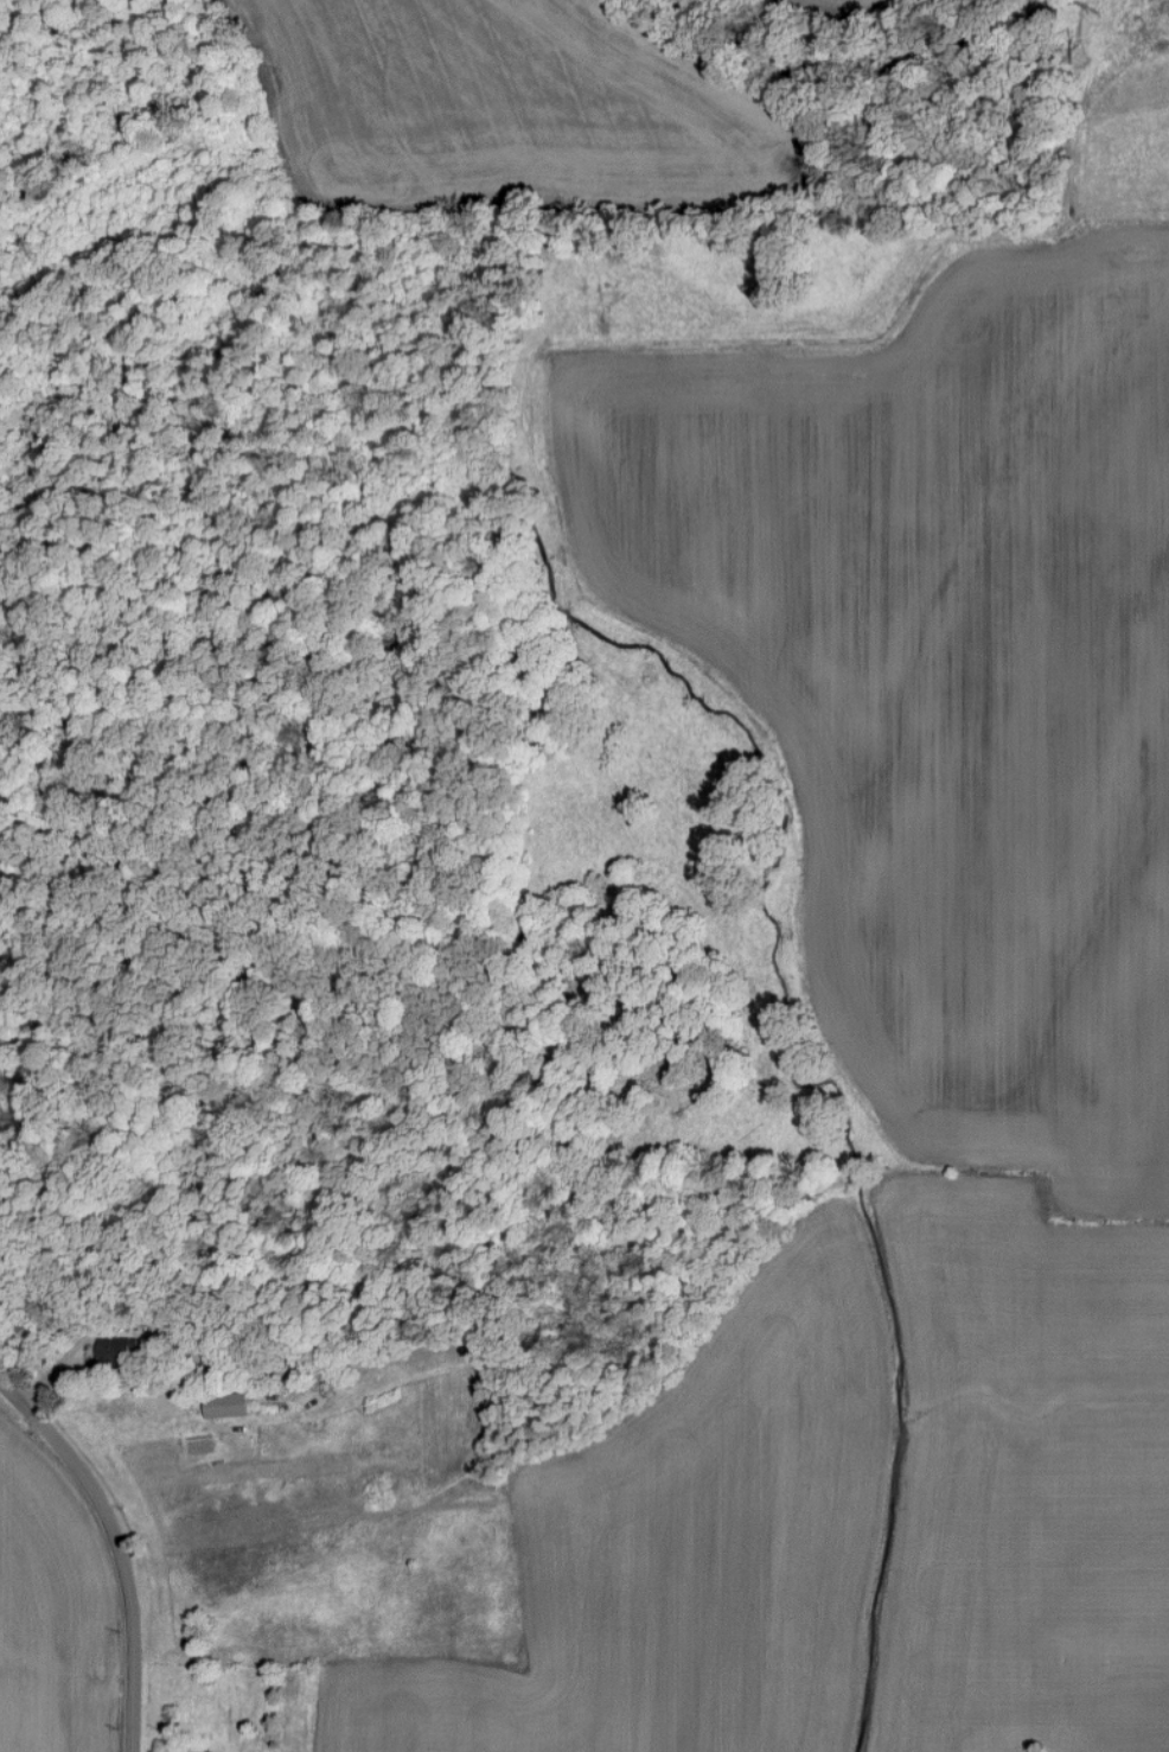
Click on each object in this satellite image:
road: (115, 1326)
building: (119, 1352)
building: (229, 1406)
road: (130, 1530)

